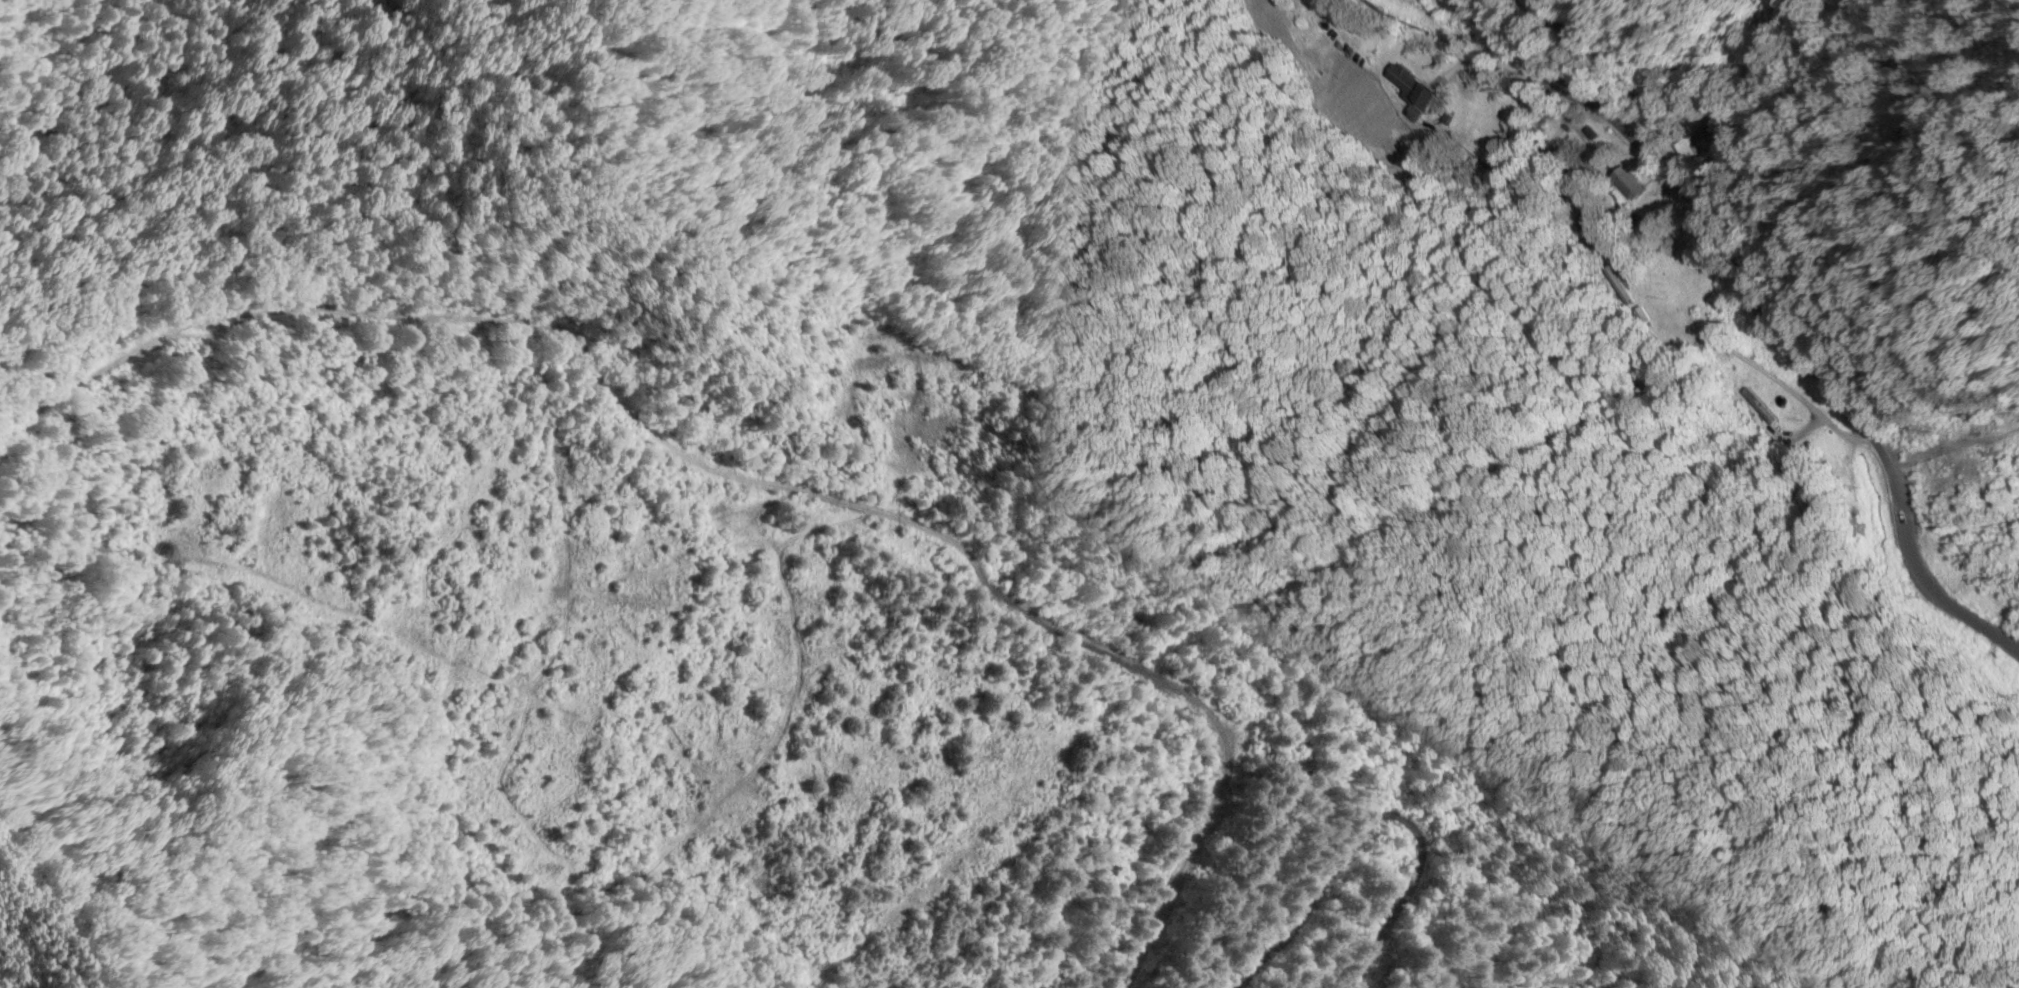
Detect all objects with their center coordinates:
building: (1416, 5)
building: (1587, 30)
building: (1412, 87)
building: (1706, 143)
building: (1553, 152)
building: (1633, 184)
road: (1769, 312)

